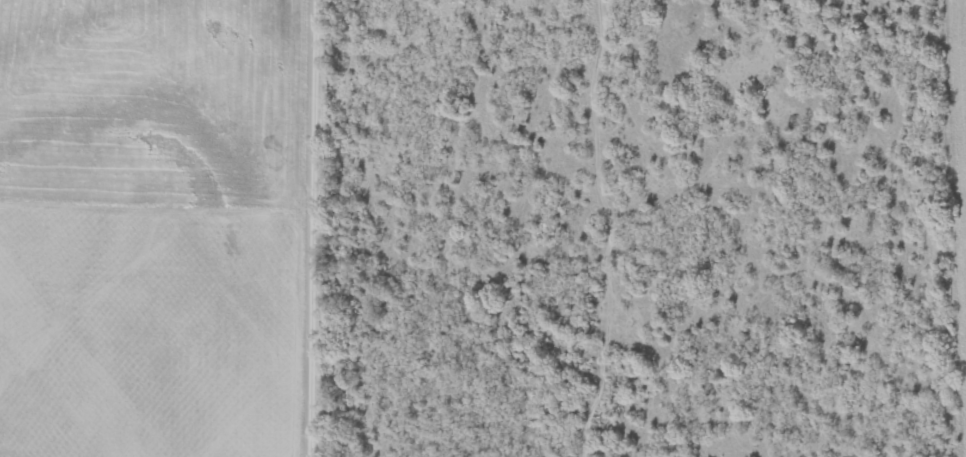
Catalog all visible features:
road: (320, 228)

